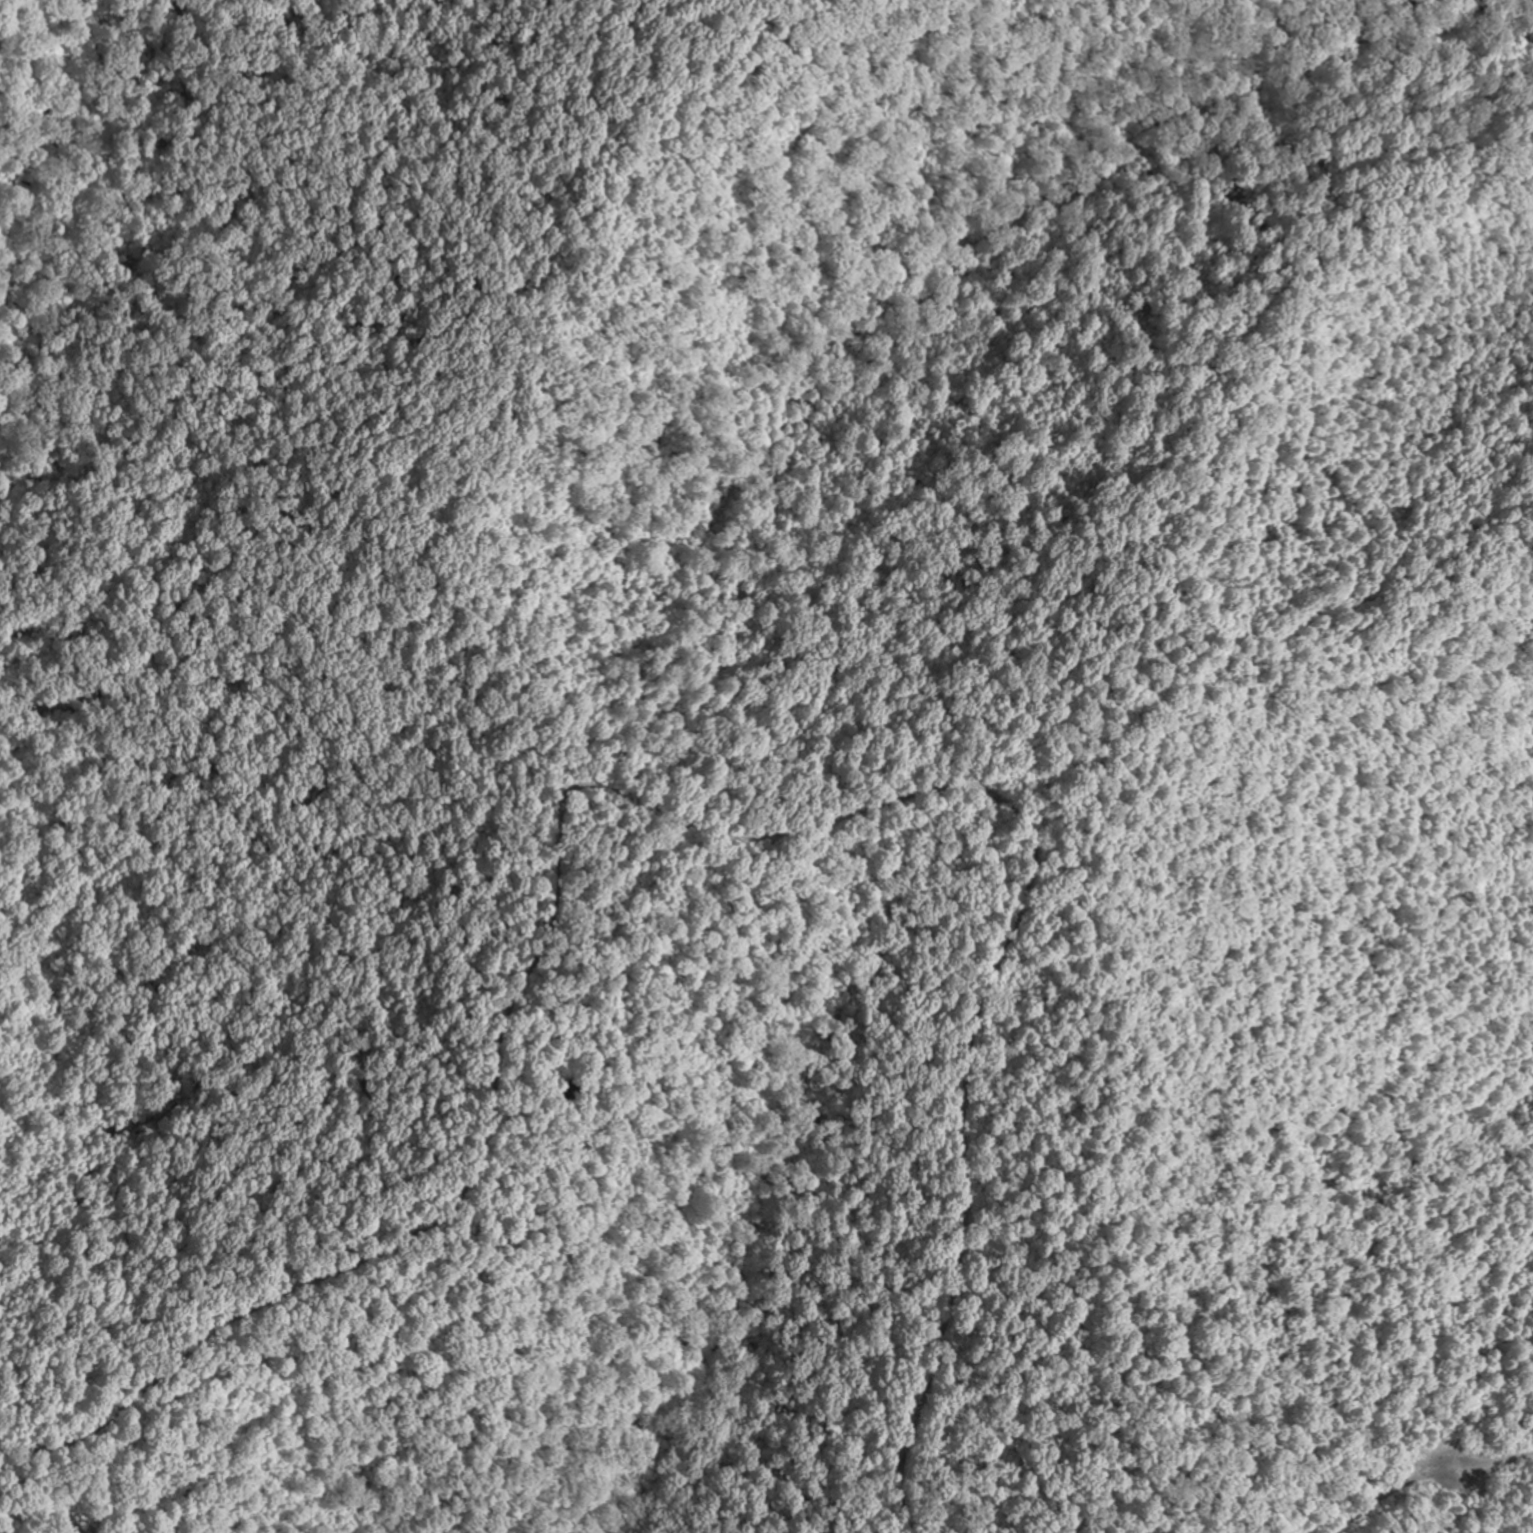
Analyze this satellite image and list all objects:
road: (693, 825)
road: (594, 1111)
road: (1114, 1194)
road: (177, 1460)
road: (1494, 1461)
parking lot: (1442, 1483)
road: (1390, 1493)
road: (33, 1525)

